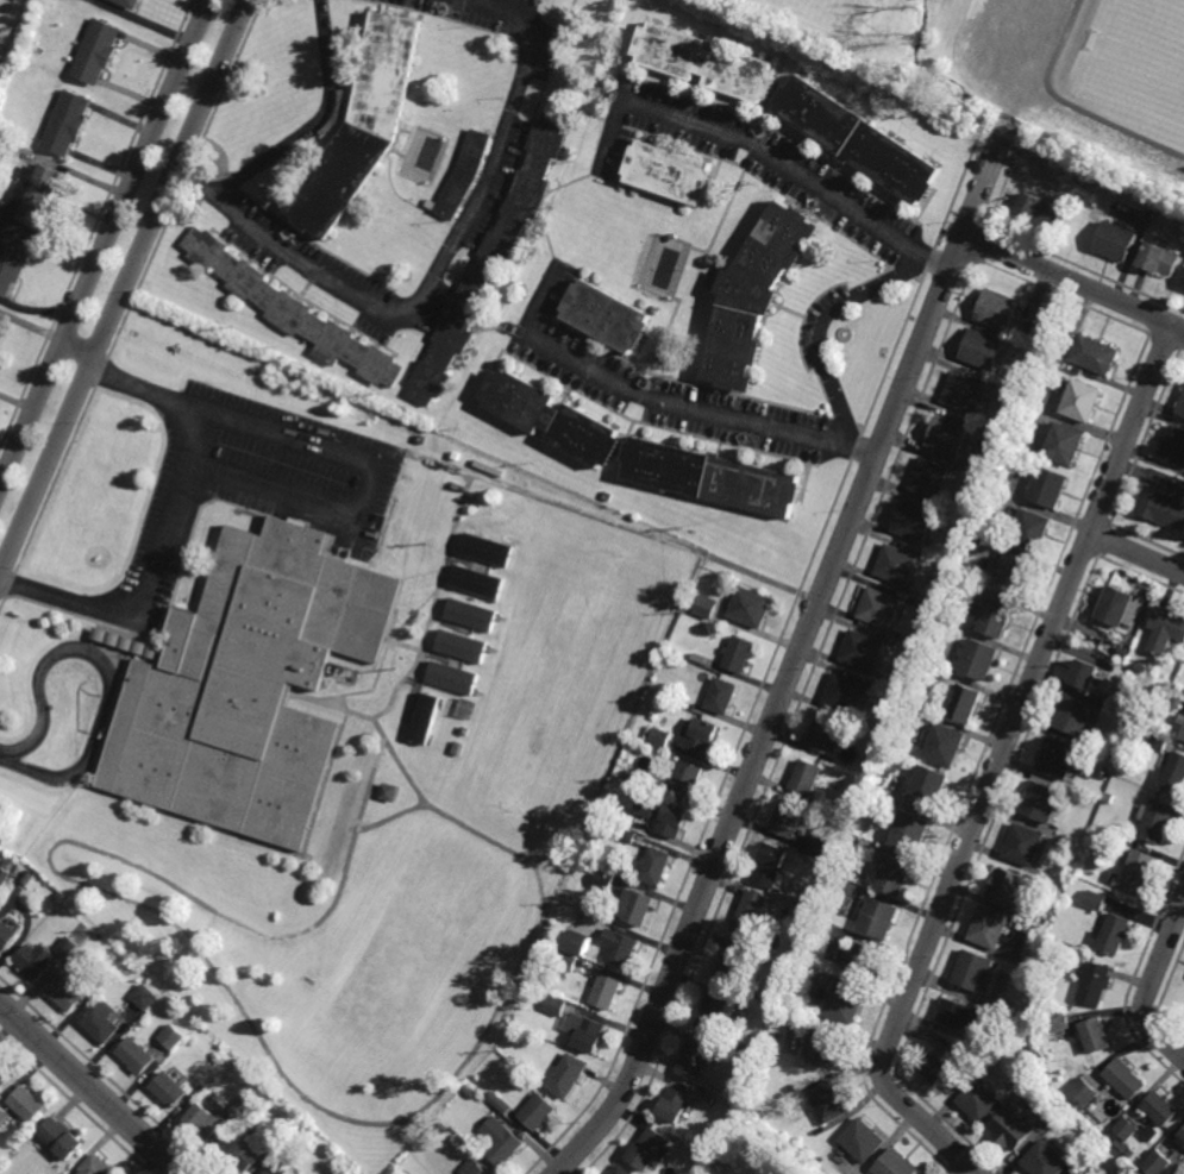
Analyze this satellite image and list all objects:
building: (21, 0)
building: (23, 0)
building: (130, 2)
building: (96, 51)
building: (704, 62)
building: (2, 80)
road: (312, 121)
building: (67, 123)
building: (361, 126)
building: (857, 139)
road: (765, 153)
building: (669, 172)
building: (463, 176)
building: (1123, 188)
building: (35, 193)
building: (1040, 211)
road: (105, 241)
building: (1116, 241)
building: (11, 260)
building: (490, 260)
building: (1157, 260)
road: (445, 264)
road: (1075, 278)
building: (1182, 284)
road: (124, 288)
building: (753, 296)
building: (997, 309)
building: (292, 312)
building: (606, 318)
road: (819, 325)
building: (1030, 344)
building: (984, 349)
building: (1095, 356)
road: (77, 357)
building: (967, 394)
building: (1083, 402)
building: (1014, 407)
building: (1180, 408)
road: (699, 409)
building: (1010, 415)
building: (550, 420)
building: (947, 435)
building: (1064, 445)
building: (1172, 448)
building: (992, 450)
building: (456, 457)
building: (990, 458)
road: (403, 459)
building: (710, 478)
building: (929, 478)
building: (1047, 489)
road: (369, 491)
building: (608, 497)
building: (1161, 510)
building: (914, 521)
road: (169, 523)
building: (1032, 532)
building: (487, 550)
building: (942, 552)
road: (1136, 554)
building: (896, 564)
building: (1014, 573)
building: (477, 582)
building: (917, 602)
building: (960, 602)
building: (706, 604)
building: (748, 604)
building: (1116, 604)
building: (879, 607)
building: (997, 615)
building: (471, 616)
building: (1164, 627)
building: (904, 636)
road: (660, 645)
building: (900, 646)
building: (462, 647)
building: (862, 648)
building: (738, 652)
building: (978, 657)
road: (795, 665)
building: (1084, 670)
road: (107, 671)
building: (452, 679)
building: (889, 682)
building: (246, 684)
building: (844, 692)
building: (720, 693)
building: (964, 701)
building: (1177, 703)
building: (1073, 712)
building: (425, 718)
building: (870, 723)
building: (851, 727)
building: (1182, 729)
building: (658, 734)
building: (823, 734)
building: (700, 735)
building: (1155, 741)
building: (945, 743)
building: (913, 751)
building: (1058, 756)
road: (1001, 764)
building: (1174, 771)
building: (806, 776)
building: (687, 777)
building: (637, 778)
building: (928, 785)
building: (388, 791)
building: (1084, 797)
building: (1108, 798)
building: (837, 799)
building: (1041, 801)
road: (421, 804)
building: (662, 812)
building: (1155, 820)
building: (784, 828)
building: (910, 830)
road: (477, 833)
building: (627, 835)
building: (1129, 842)
building: (1025, 843)
road: (552, 858)
road: (50, 859)
building: (654, 865)
building: (770, 866)
building: (1134, 872)
building: (895, 874)
building: (4, 875)
building: (27, 878)
building: (603, 880)
road: (558, 884)
building: (1010, 889)
building: (834, 896)
building: (815, 897)
building: (1094, 900)
building: (633, 906)
building: (750, 912)
building: (808, 917)
building: (877, 917)
building: (842, 919)
building: (989, 927)
building: (1025, 927)
building: (1113, 934)
building: (6, 935)
building: (576, 942)
building: (68, 947)
building: (93, 947)
building: (618, 948)
building: (795, 948)
building: (36, 960)
building: (734, 960)
building: (863, 960)
building: (566, 961)
building: (790, 962)
building: (973, 969)
building: (798, 980)
building: (1091, 982)
road: (1151, 987)
building: (604, 992)
building: (65, 993)
building: (146, 997)
building: (793, 998)
building: (844, 1003)
building: (553, 1004)
building: (713, 1009)
building: (960, 1013)
building: (102, 1022)
building: (1059, 1024)
building: (205, 1030)
building: (1032, 1030)
building: (583, 1031)
building: (773, 1036)
building: (1094, 1036)
building: (174, 1037)
building: (820, 1046)
building: (756, 1048)
building: (1038, 1055)
building: (694, 1056)
building: (137, 1057)
building: (936, 1068)
building: (565, 1075)
building: (5, 1076)
building: (1123, 1079)
road: (93, 1086)
building: (469, 1090)
building: (170, 1091)
building: (1025, 1091)
building: (794, 1092)
building: (1082, 1092)
building: (739, 1095)
building: (707, 1099)
building: (499, 1101)
building: (828, 1101)
building: (979, 1101)
building: (27, 1104)
building: (672, 1105)
building: (239, 1109)
building: (1159, 1109)
building: (535, 1111)
building: (4, 1116)
building: (203, 1122)
building: (294, 1124)
building: (441, 1128)
building: (1011, 1129)
building: (1125, 1130)
building: (277, 1132)
building: (1180, 1138)
building: (59, 1140)
building: (499, 1140)
building: (862, 1140)
building: (459, 1142)
building: (647, 1149)
building: (242, 1153)
building: (1044, 1160)
building: (895, 1164)
building: (1155, 1164)
building: (96, 1166)
building: (471, 1168)
building: (620, 1169)
building: (272, 1170)
building: (289, 1172)
road: (969, 1172)
building: (1077, 1172)

